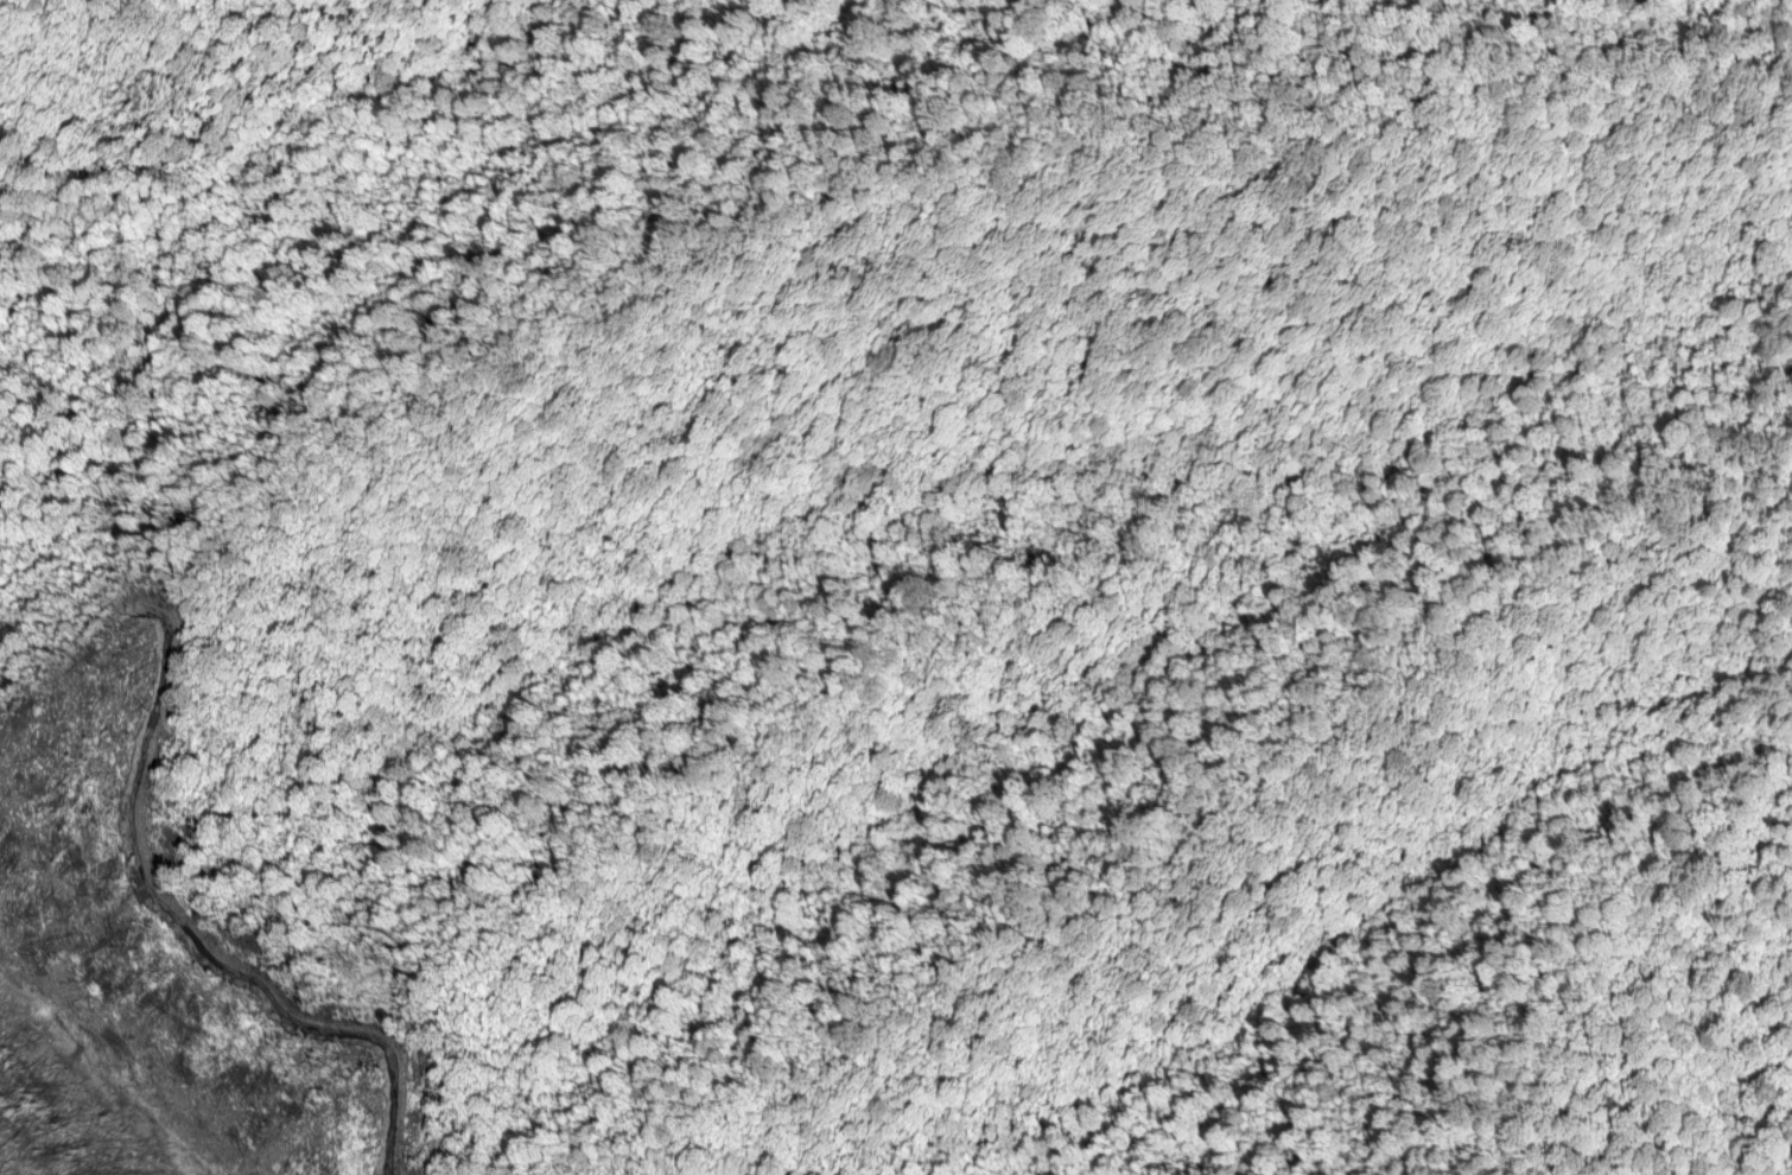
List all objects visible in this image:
quarry: (153, 942)

